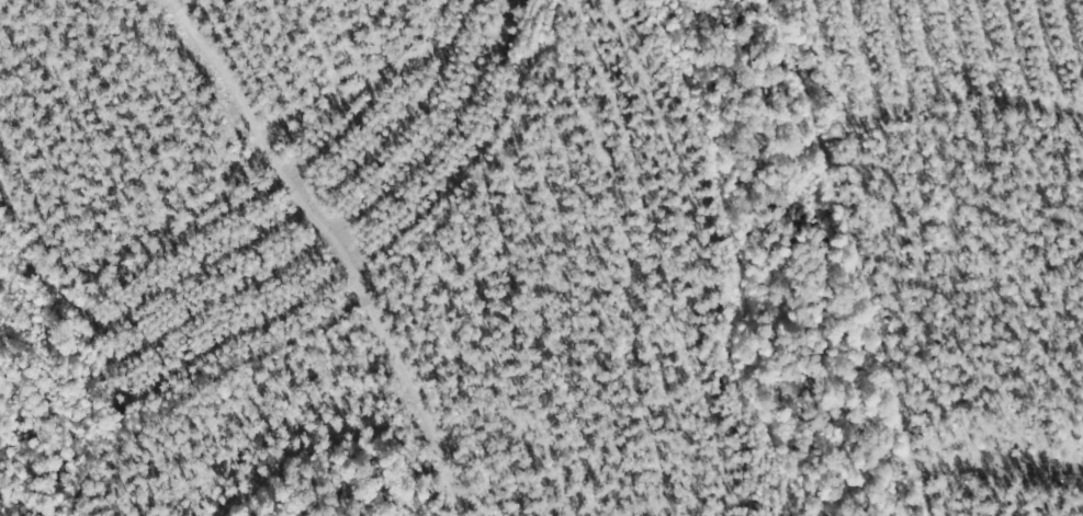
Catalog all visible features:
road: (327, 248)

